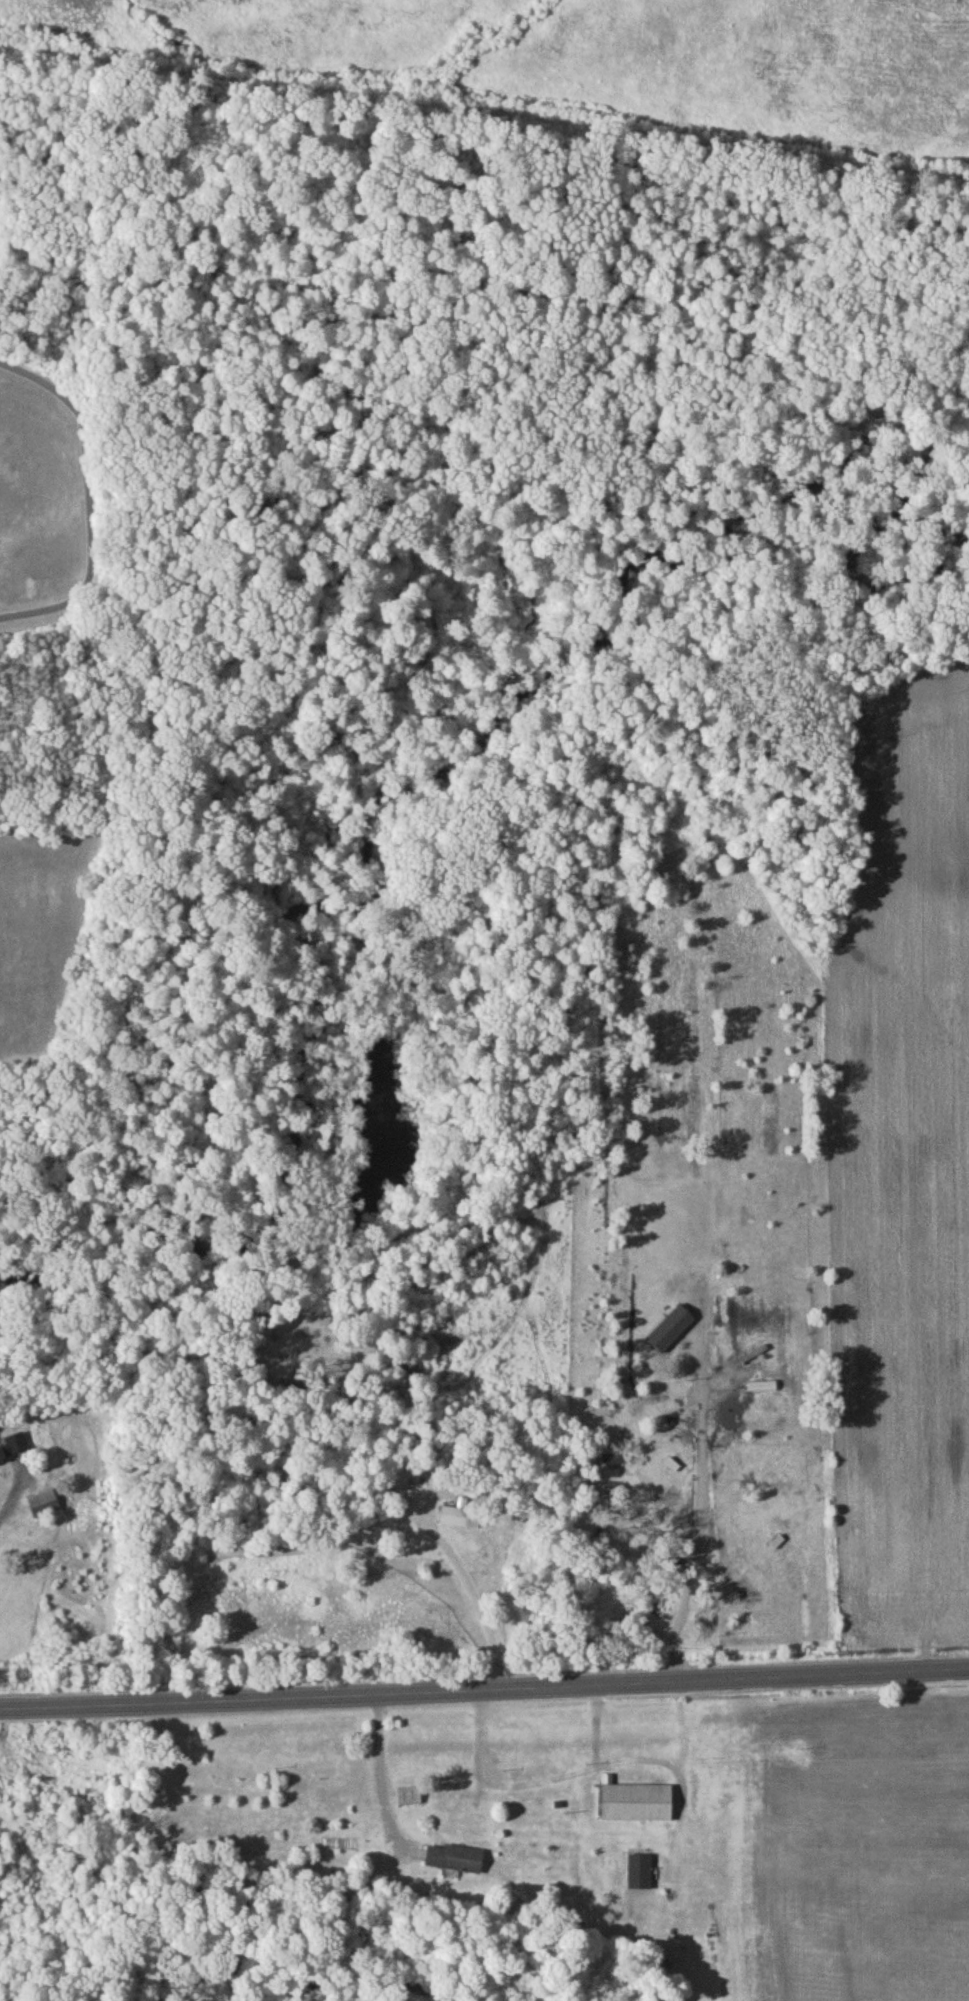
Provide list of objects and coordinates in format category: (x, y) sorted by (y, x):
airport: (605, 57)
road: (86, 504)
building: (12, 1451)
road: (10, 1497)
building: (43, 1508)
building: (458, 1521)
road: (484, 1613)
road: (484, 1692)
road: (380, 1783)
building: (408, 1800)
building: (635, 1806)
building: (455, 1862)
building: (639, 1875)

